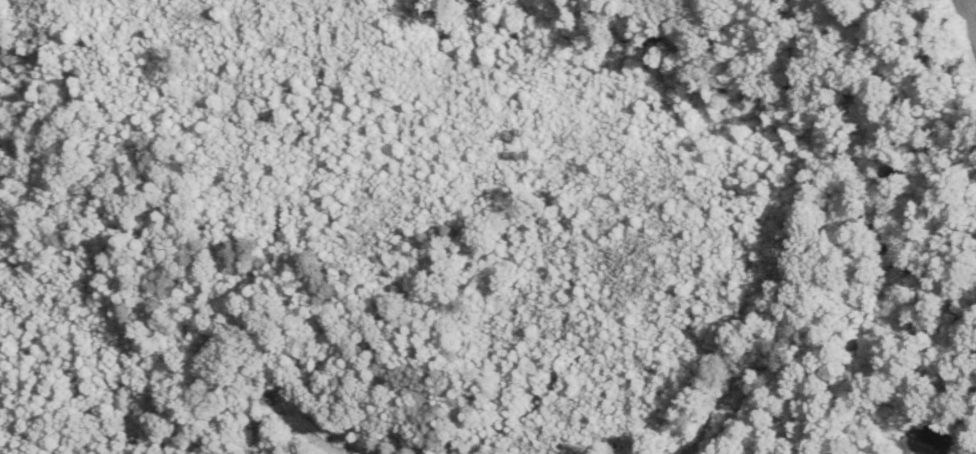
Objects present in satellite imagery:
road: (275, 408)
building: (938, 436)
road: (919, 447)

